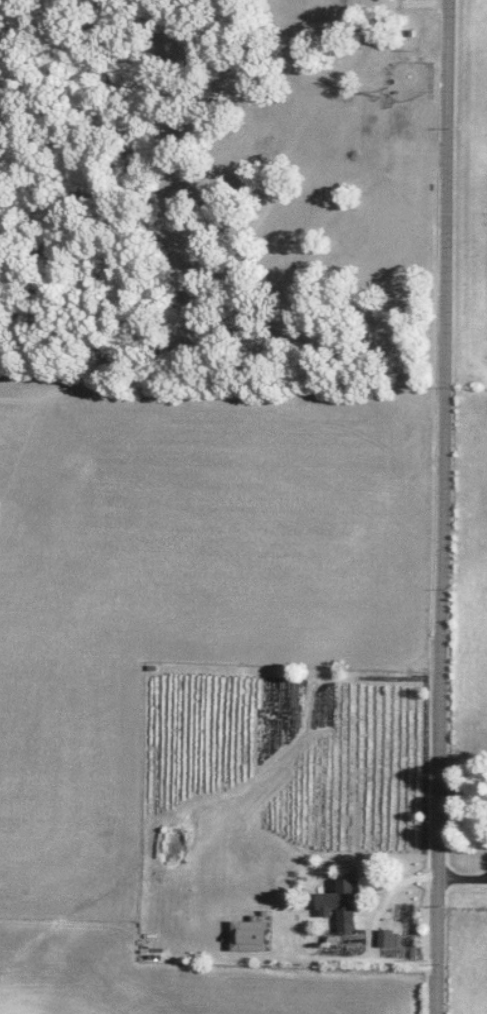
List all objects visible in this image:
road: (445, 507)
building: (349, 904)
building: (387, 937)

